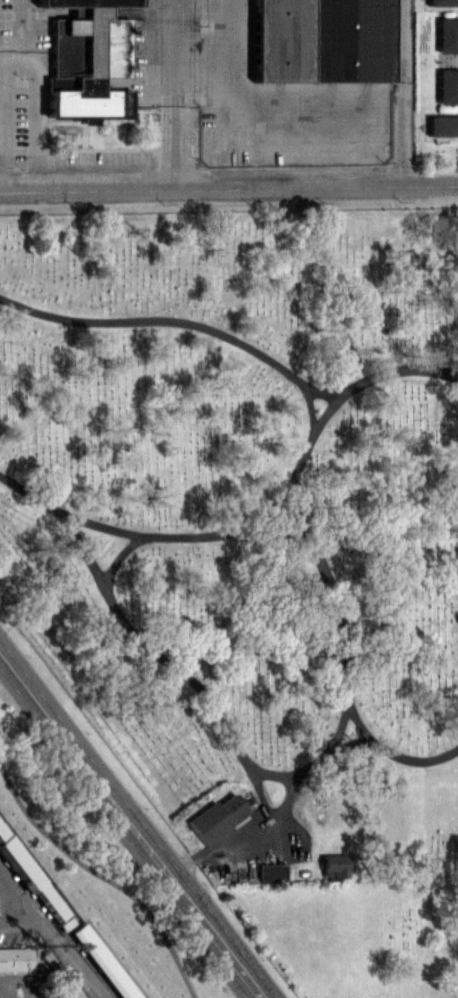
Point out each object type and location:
building: (88, 2)
building: (441, 2)
building: (446, 34)
building: (325, 40)
building: (114, 47)
road: (174, 52)
building: (447, 86)
park: (435, 88)
road: (403, 92)
road: (34, 113)
building: (442, 125)
road: (174, 146)
road: (0, 175)
road: (228, 187)
road: (235, 339)
road: (311, 405)
road: (298, 469)
road: (269, 507)
road: (259, 530)
park: (254, 552)
road: (118, 556)
road: (166, 659)
road: (359, 725)
road: (273, 773)
road: (297, 775)
building: (215, 817)
road: (131, 825)
building: (333, 866)
building: (269, 872)
building: (30, 875)
road: (104, 877)
road: (22, 898)
road: (22, 927)
building: (15, 959)
road: (80, 960)
building: (102, 962)
road: (47, 976)
road: (5, 987)
road: (33, 987)

